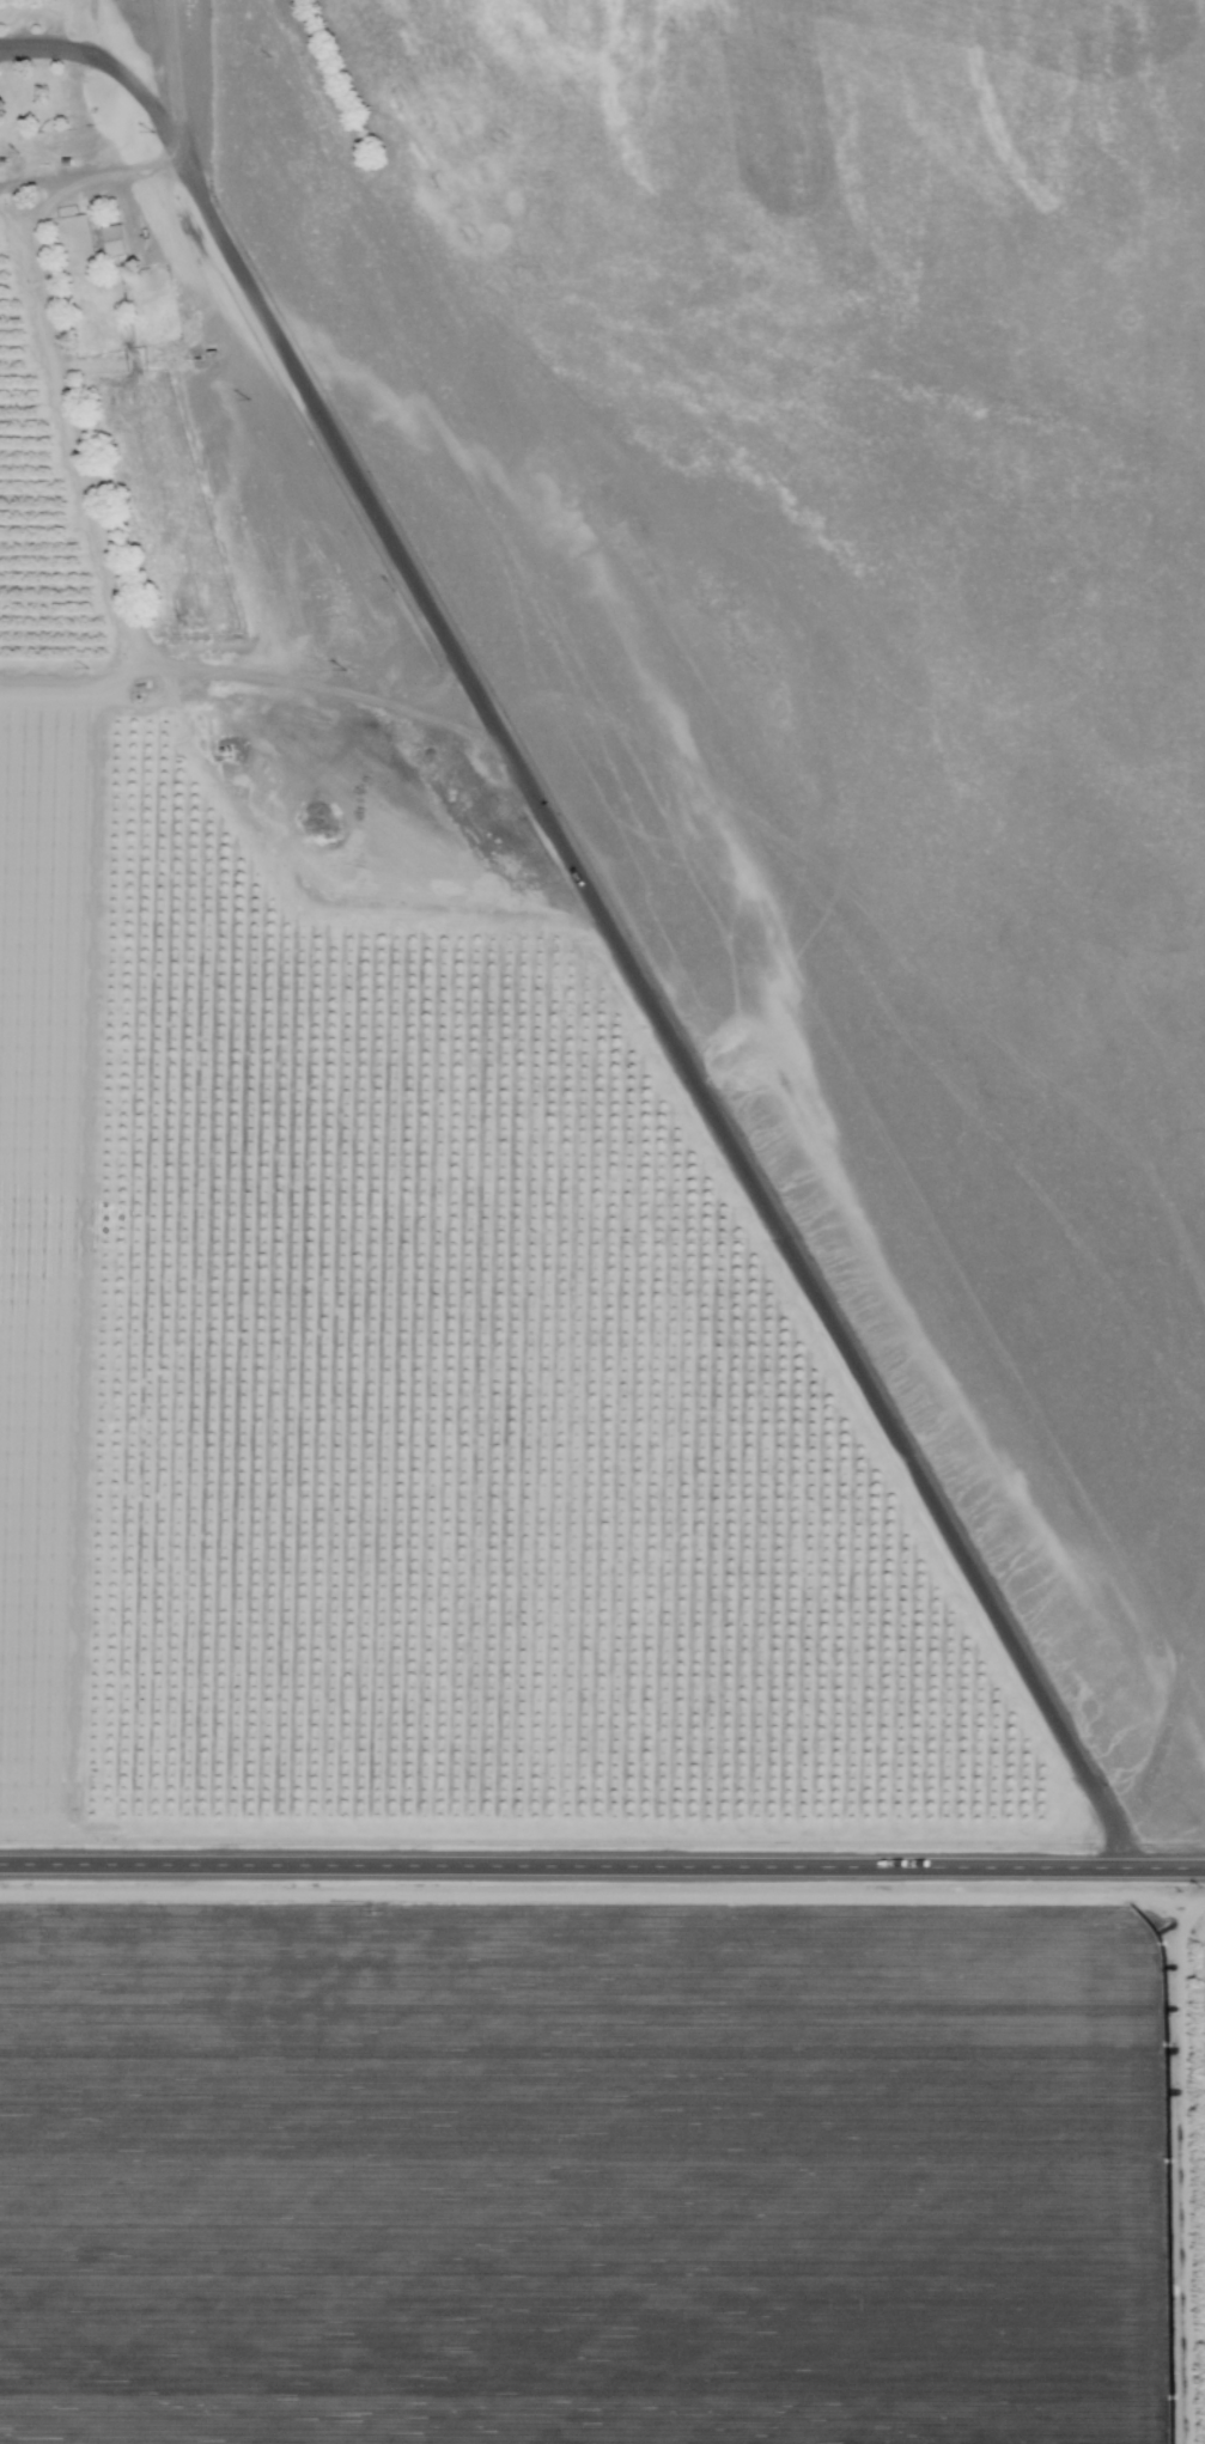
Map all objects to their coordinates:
building: (112, 240)
road: (623, 946)
road: (602, 1869)

